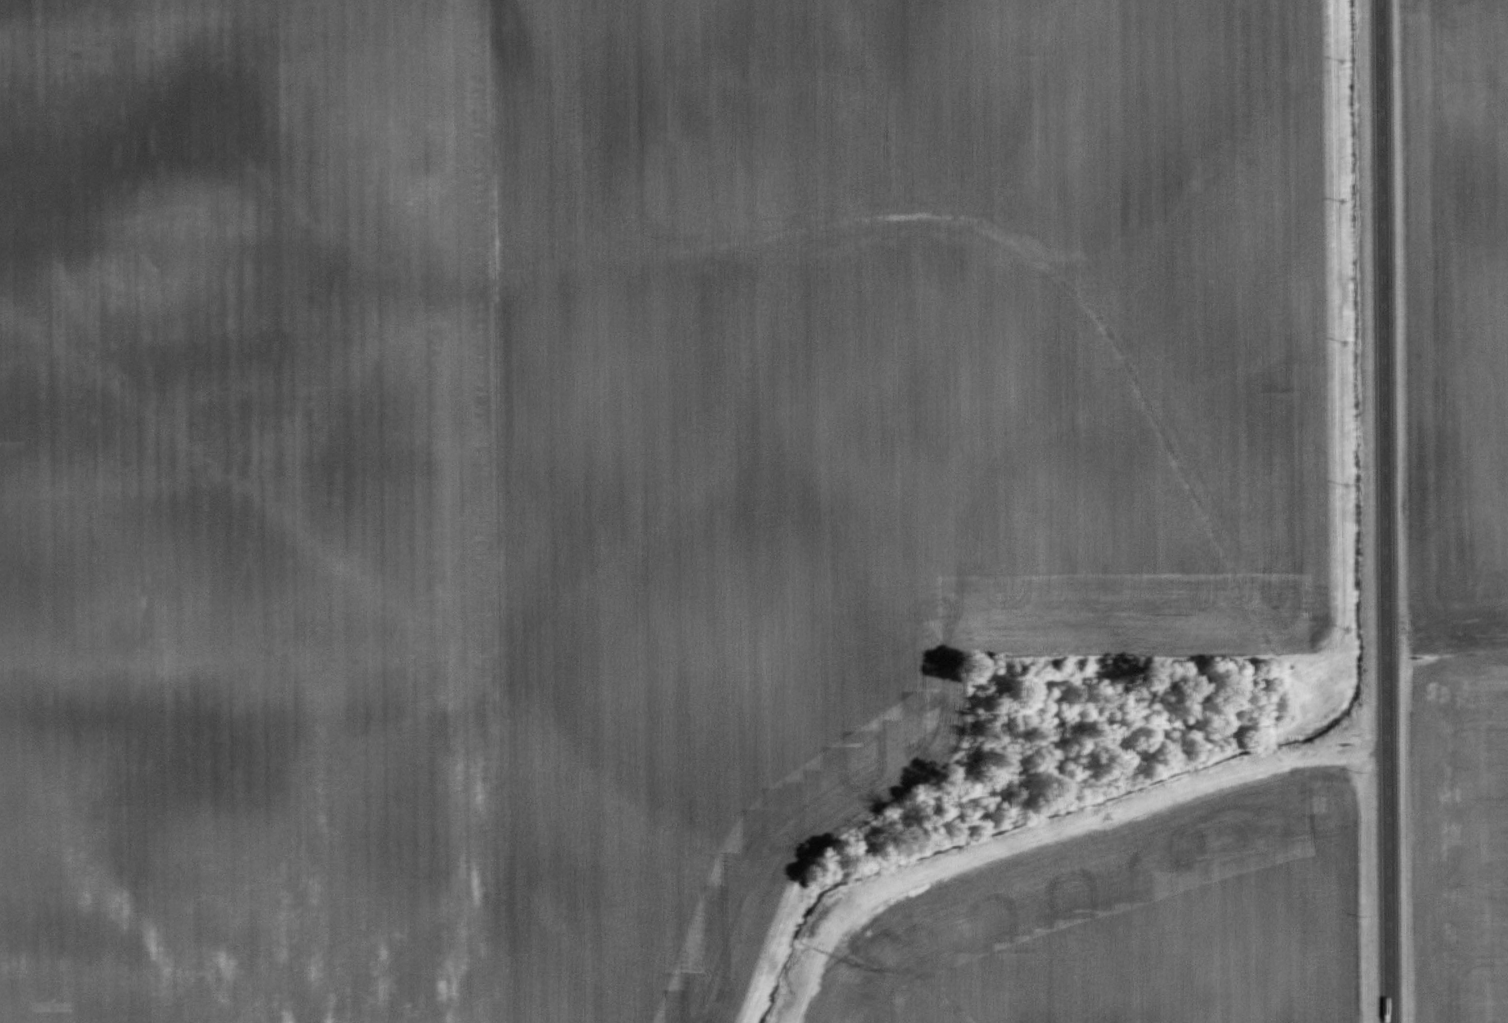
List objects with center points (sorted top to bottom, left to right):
road: (1386, 511)

